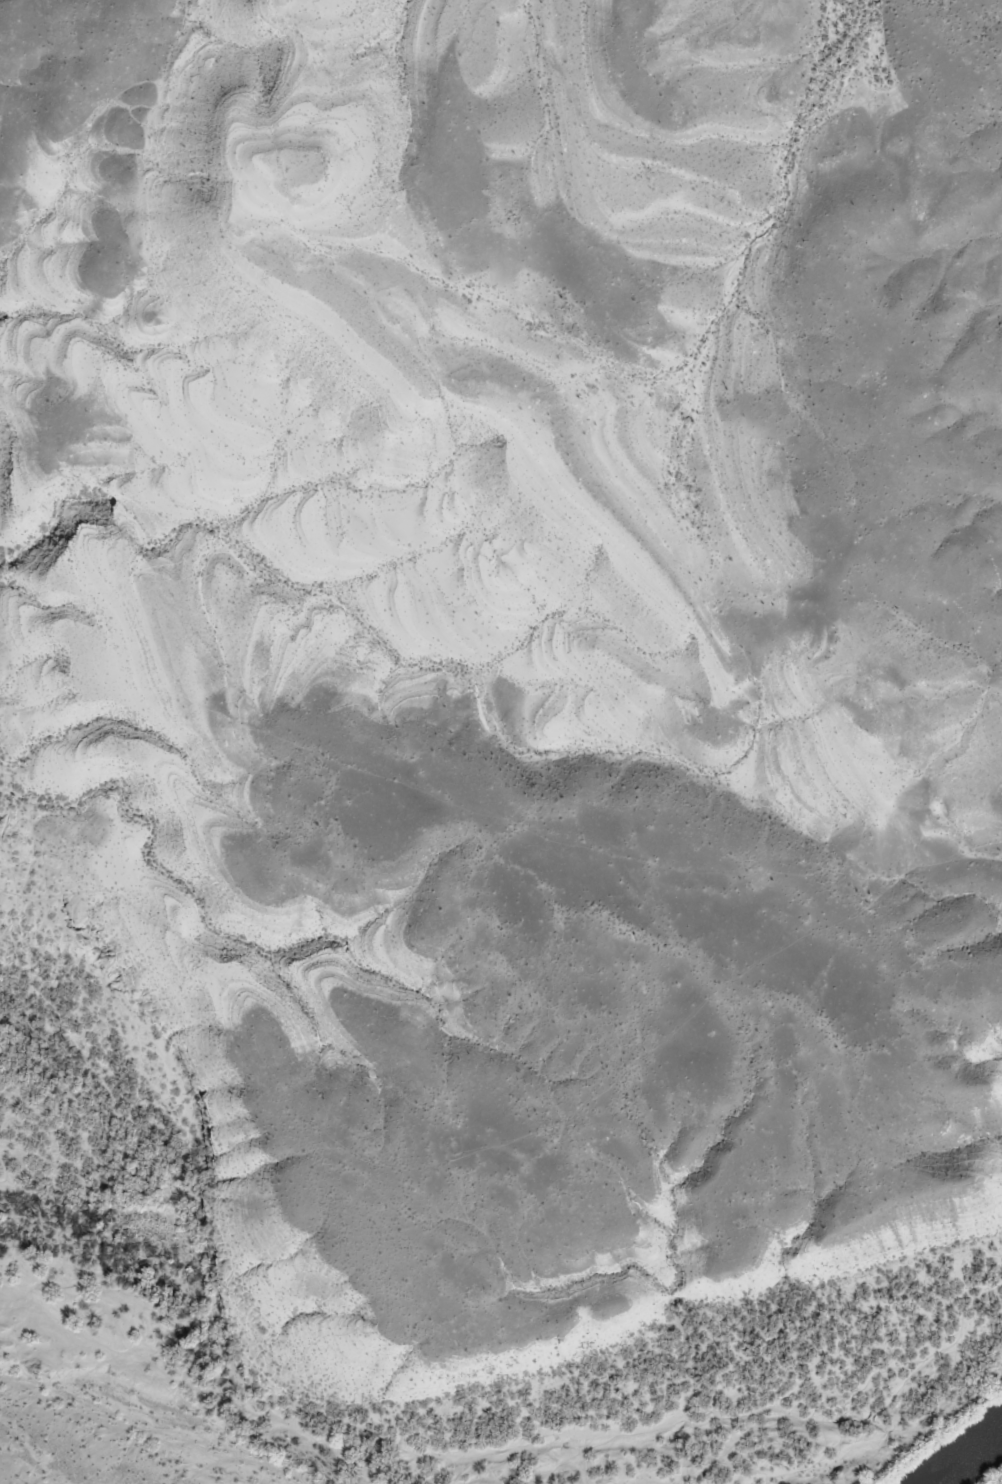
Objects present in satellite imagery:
river: (963, 1455)

